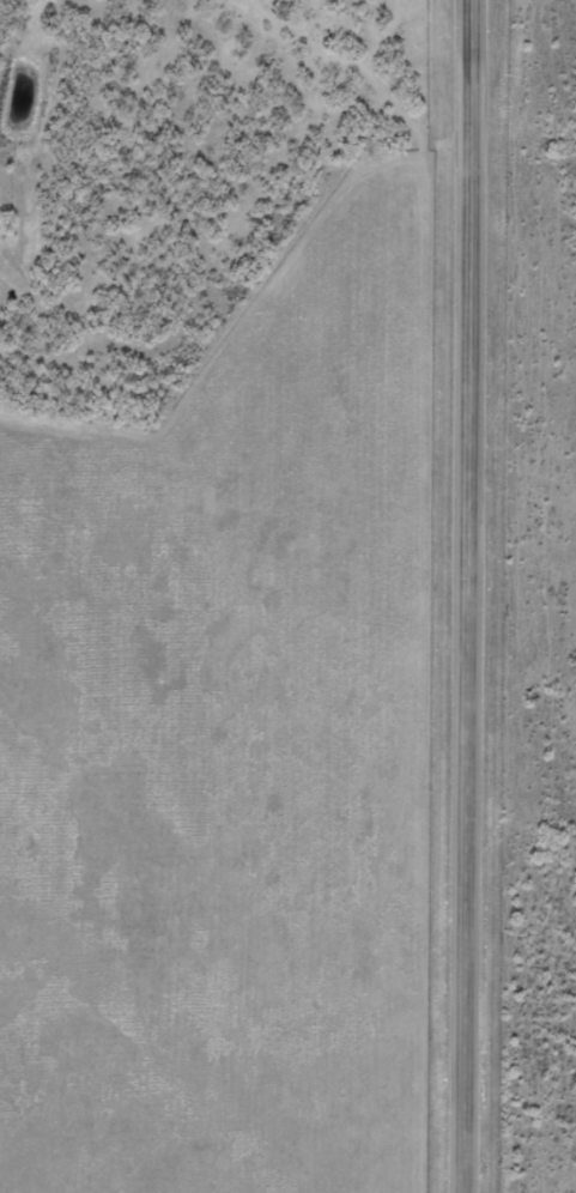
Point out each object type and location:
road: (463, 596)

